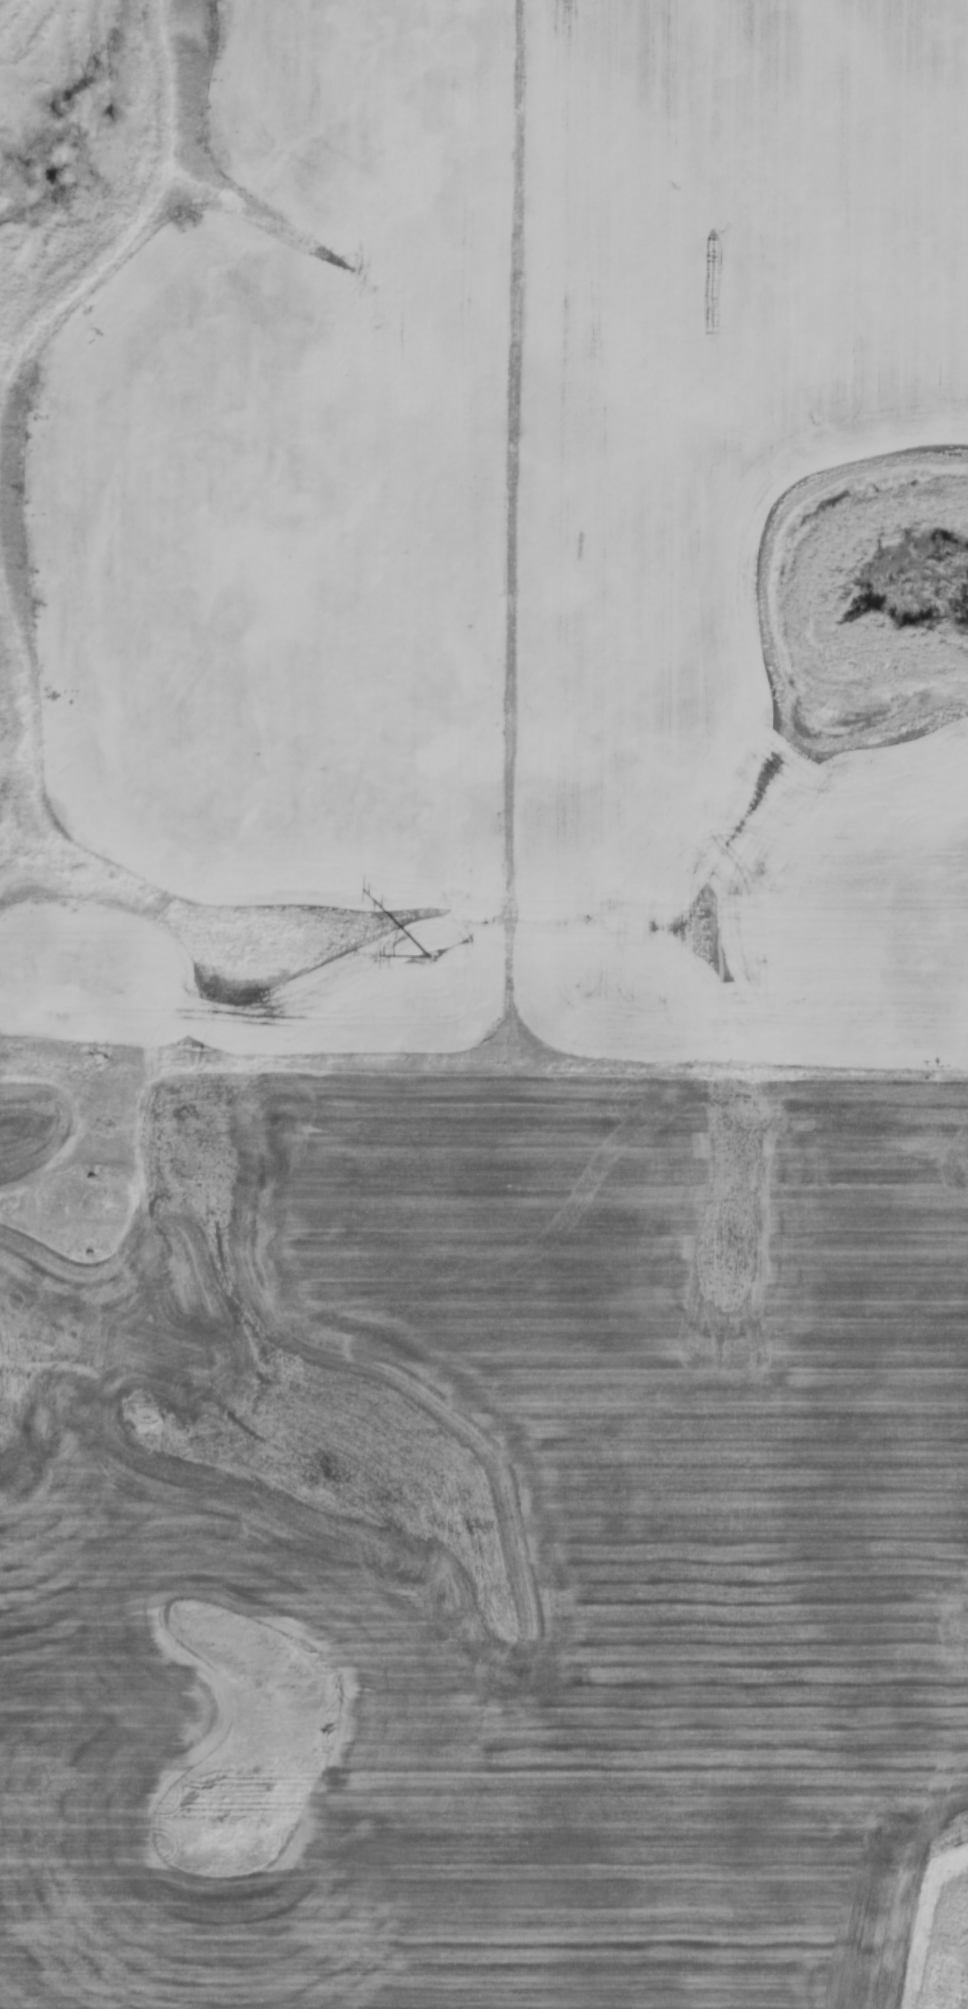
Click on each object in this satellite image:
building: (752, 324)
power tower: (426, 951)

